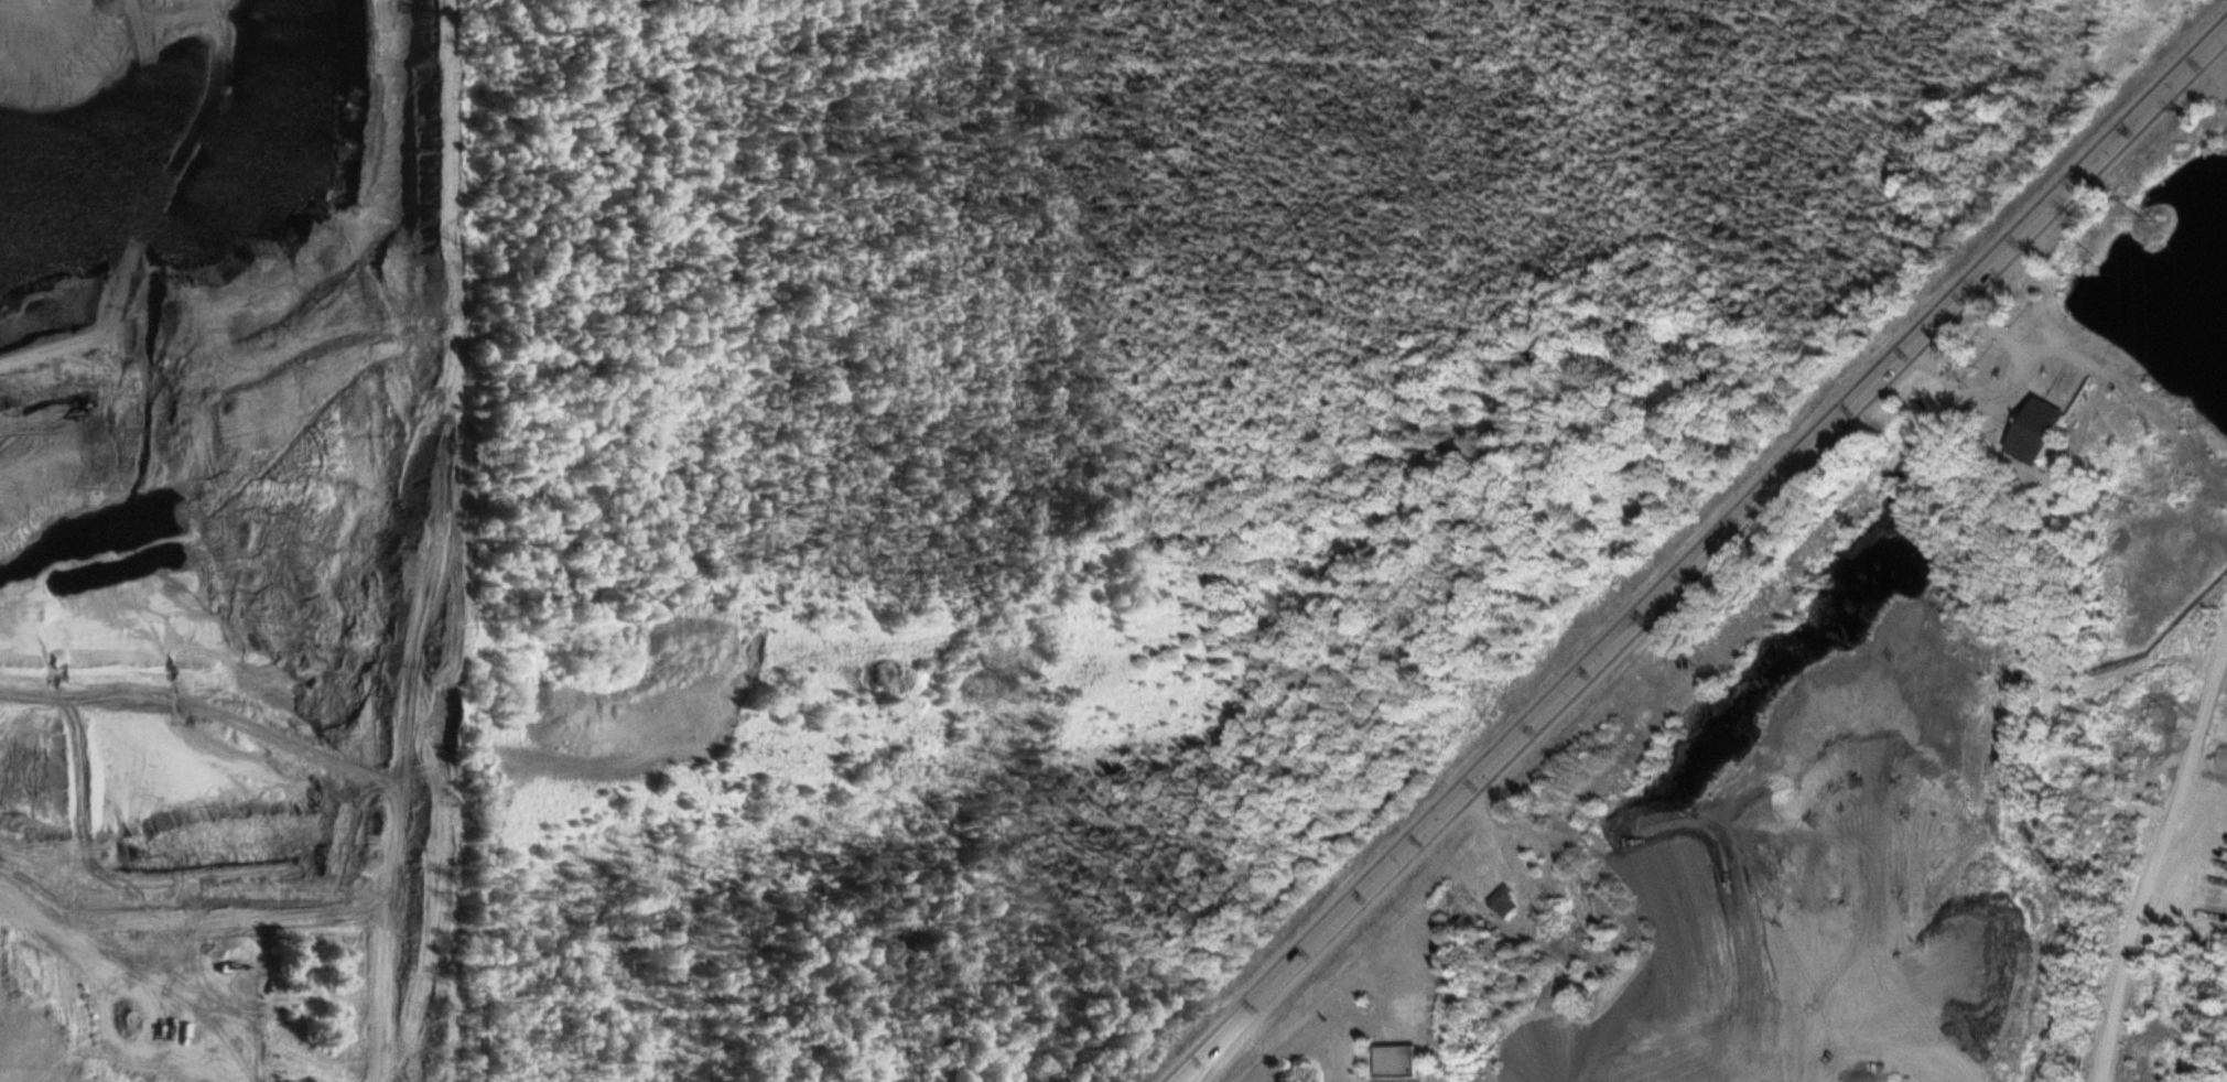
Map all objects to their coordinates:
building: (2041, 433)
quarry: (272, 537)
road: (1701, 559)
road: (2153, 847)
quarry: (1905, 853)
building: (1505, 905)
building: (1399, 1063)

